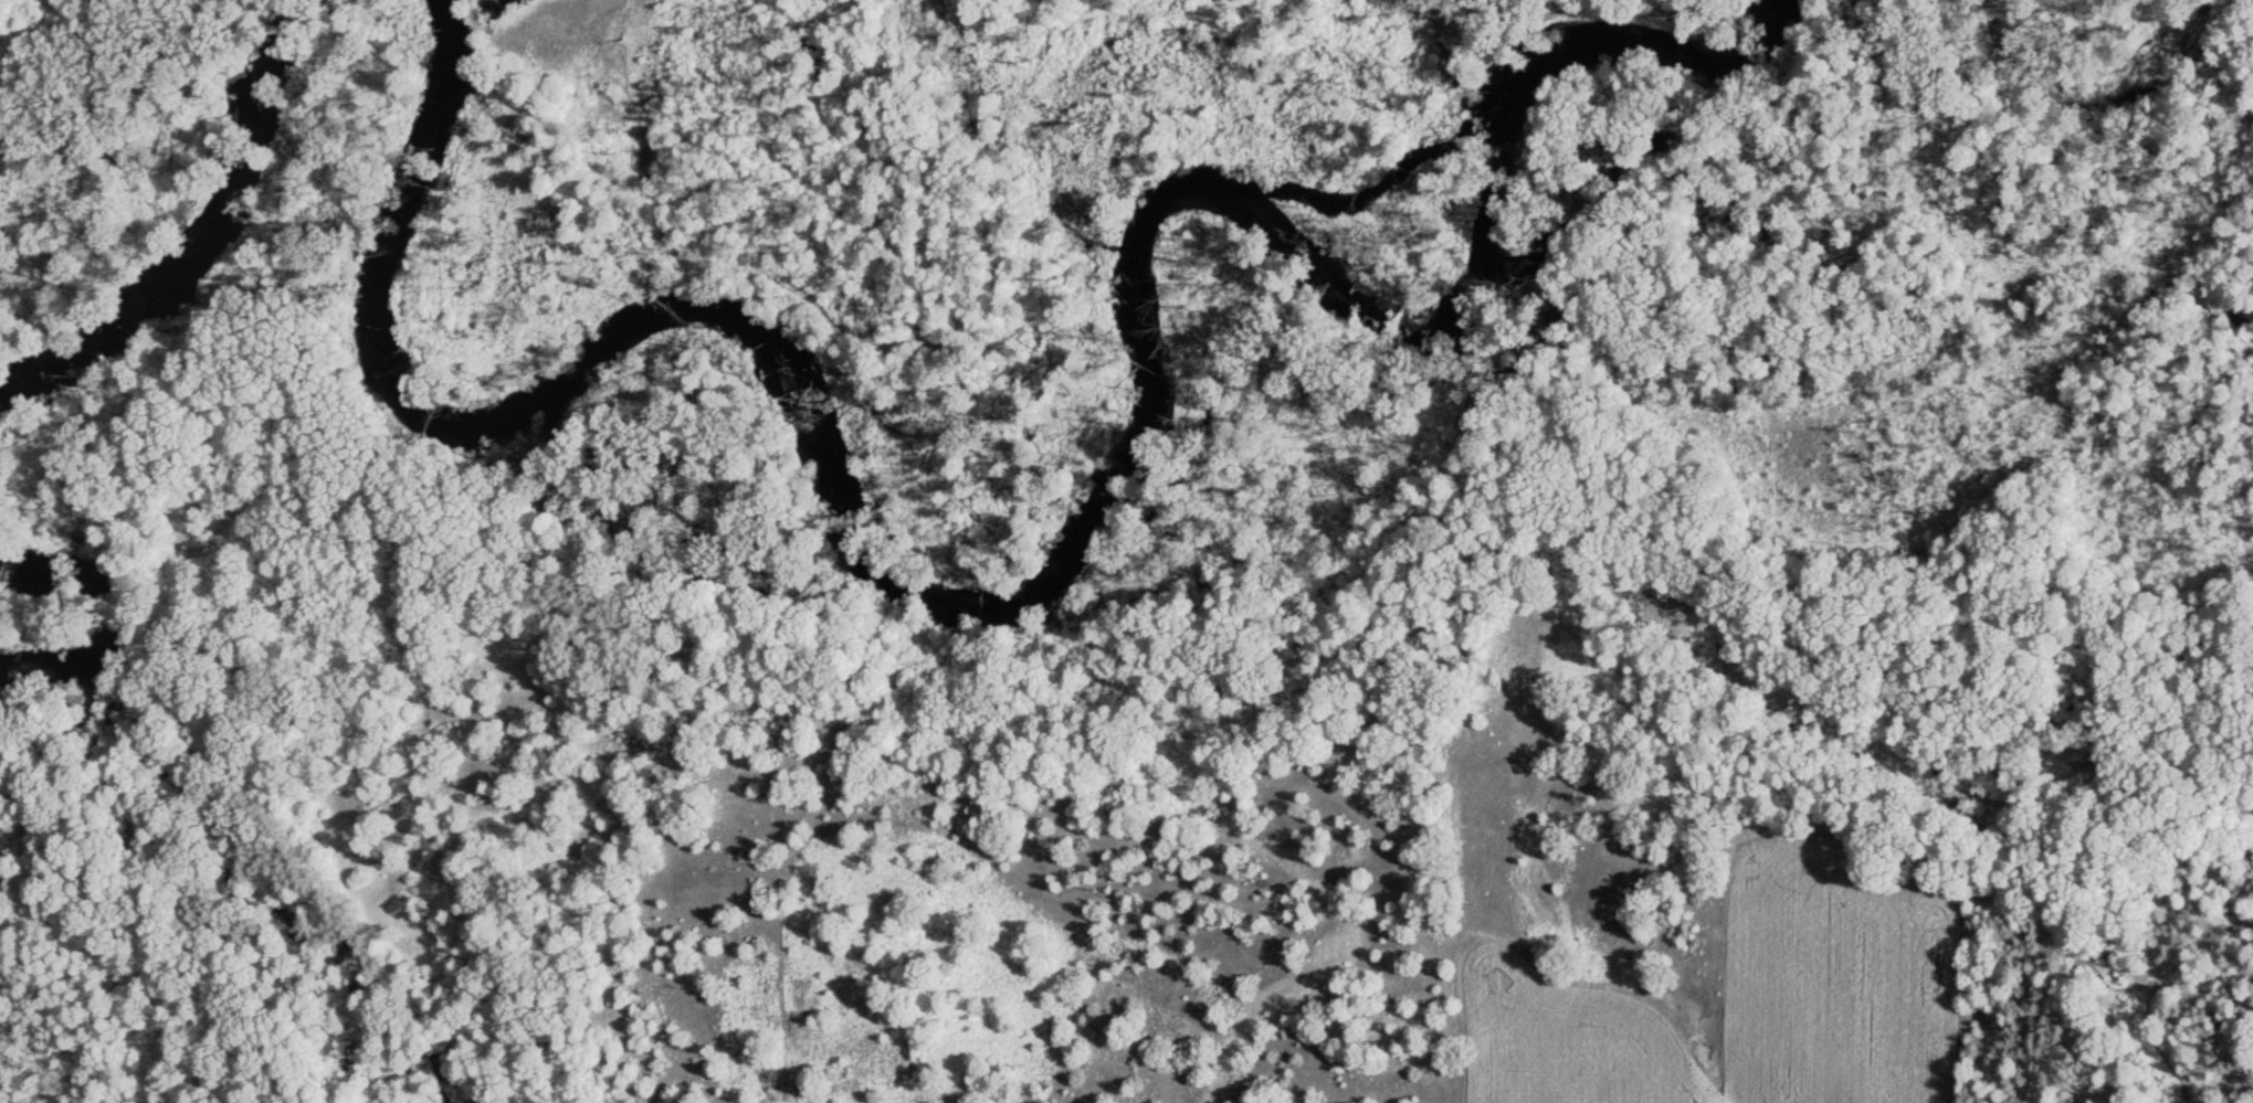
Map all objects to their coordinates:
river: (204, 240)
river: (1060, 575)
river: (116, 619)

